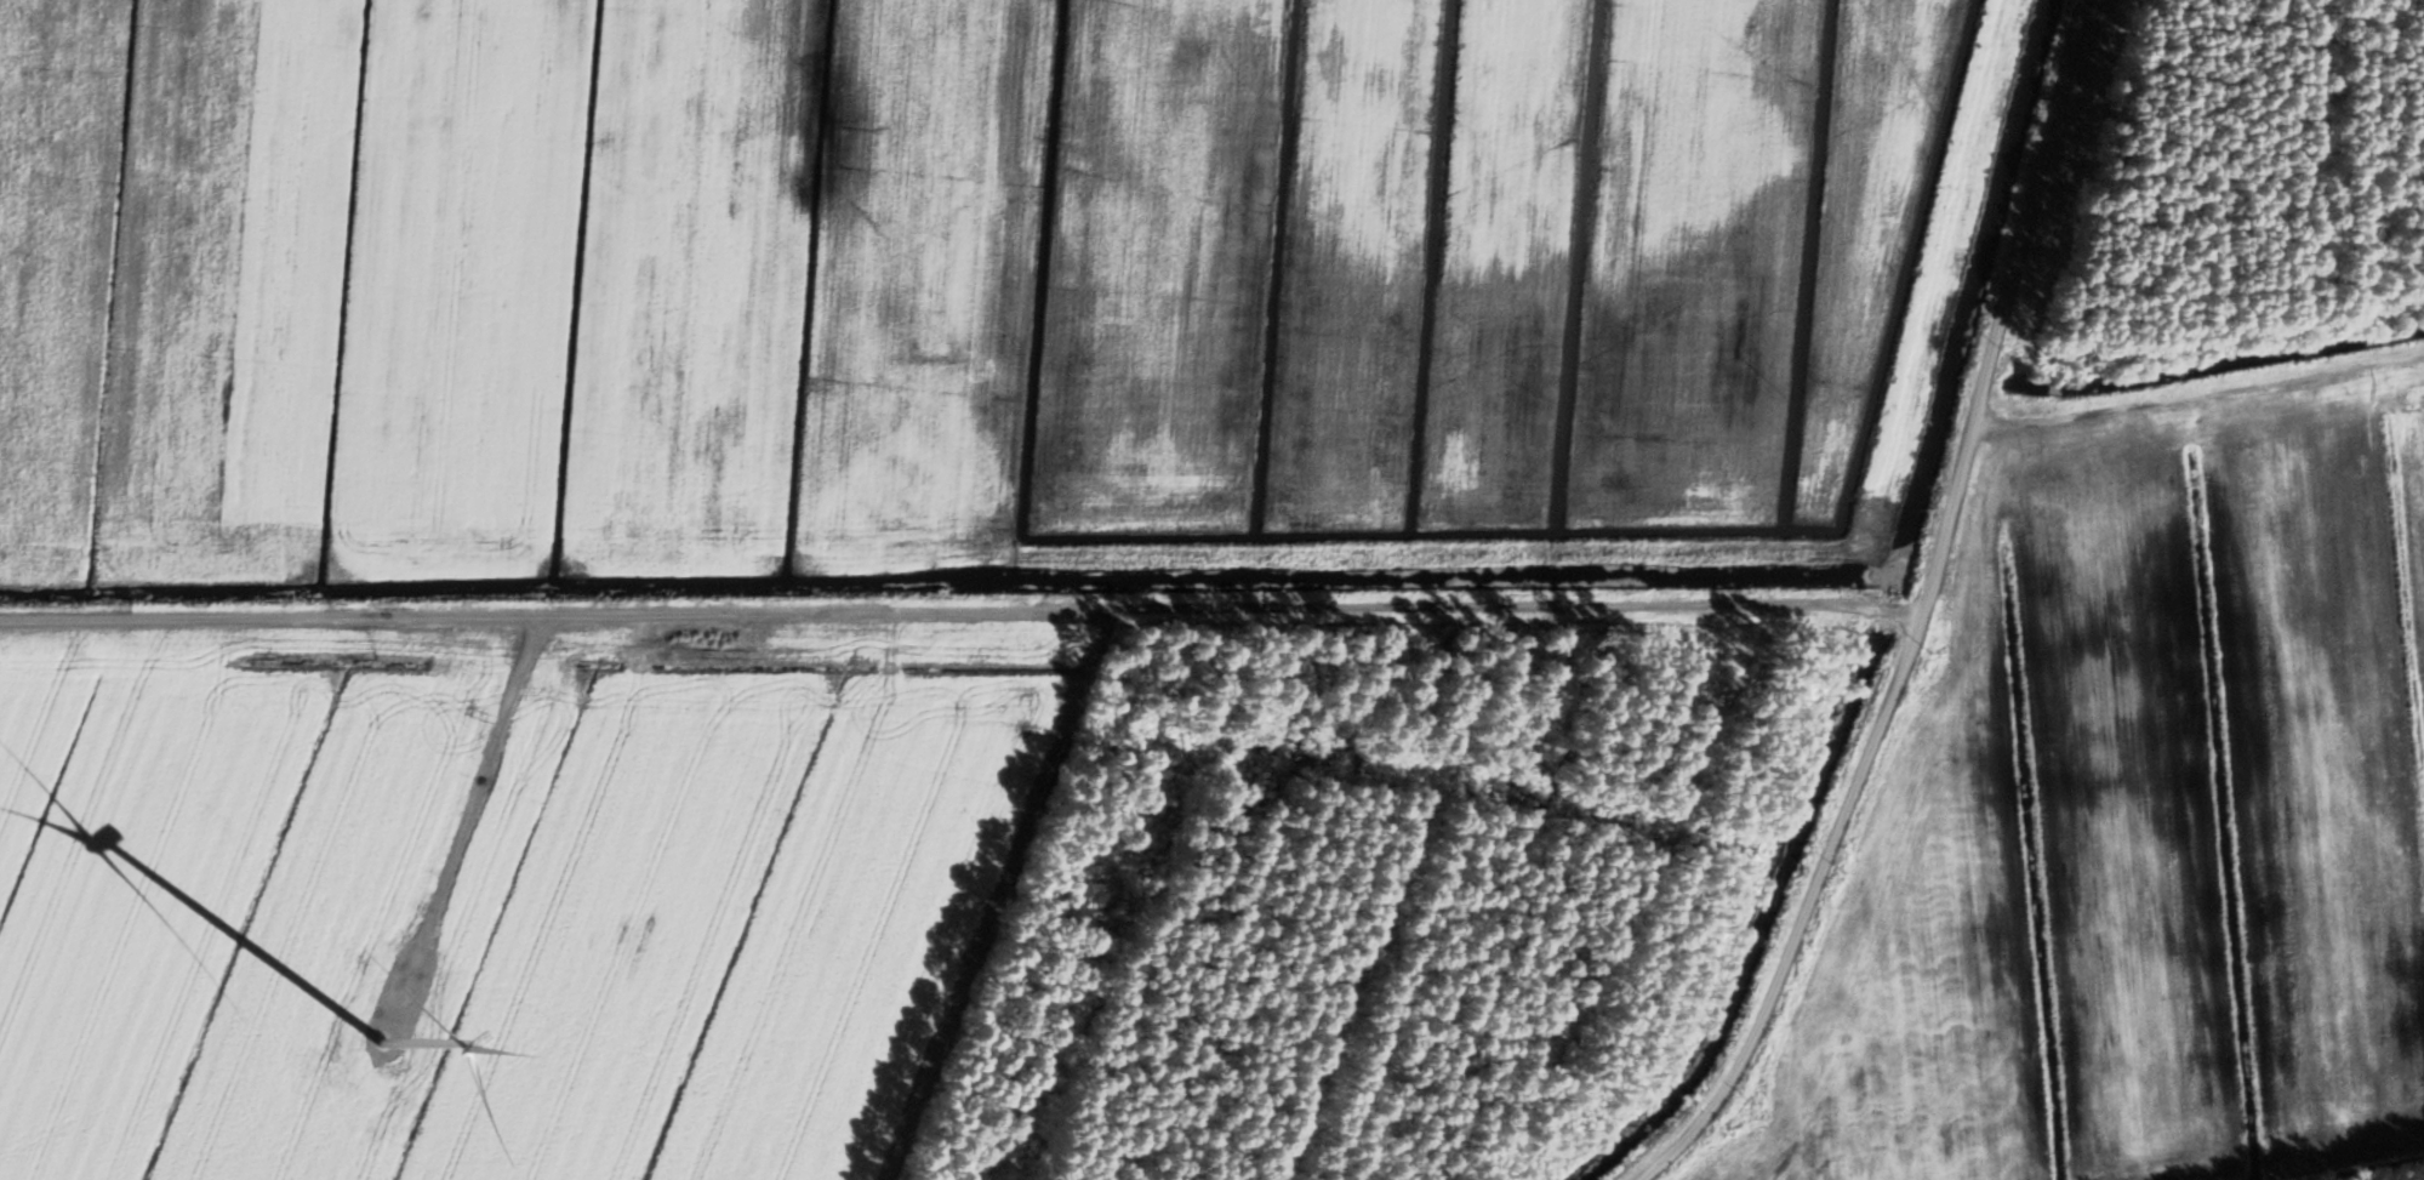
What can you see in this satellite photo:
road: (2198, 386)
road: (1928, 617)
road: (965, 618)
wind turbine: (371, 1036)

